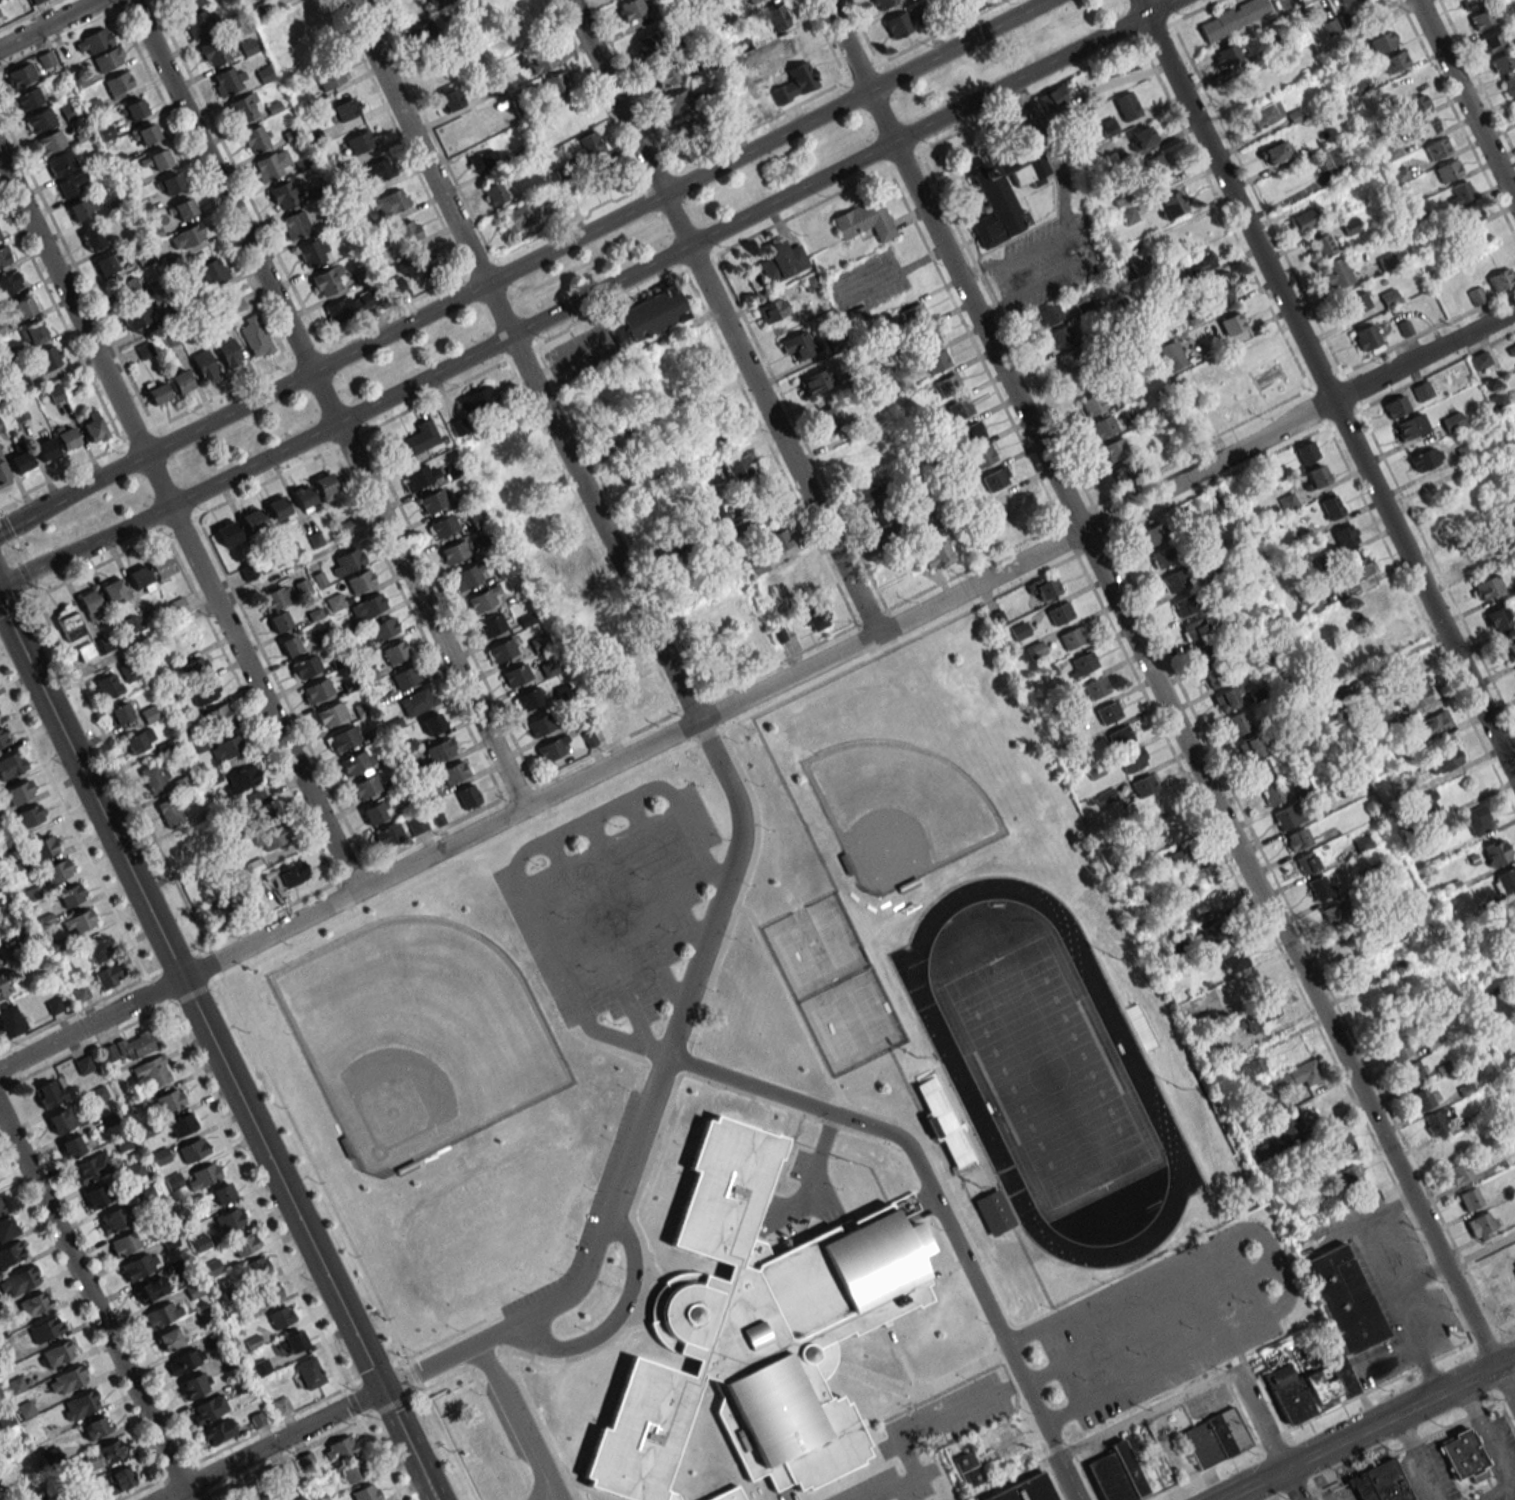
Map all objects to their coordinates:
building: (35, 0)
building: (751, 1)
building: (1342, 1)
building: (1304, 2)
building: (191, 3)
building: (438, 3)
building: (882, 3)
building: (1471, 3)
building: (631, 9)
building: (528, 11)
road: (28, 13)
building: (1, 17)
building: (777, 17)
building: (1233, 18)
building: (1482, 18)
building: (200, 22)
road: (49, 24)
building: (899, 24)
building: (1330, 27)
building: (423, 34)
building: (93, 41)
building: (649, 42)
building: (1382, 42)
building: (1491, 42)
building: (214, 50)
building: (1230, 54)
road: (24, 55)
building: (108, 58)
building: (539, 58)
building: (1395, 61)
building: (667, 74)
building: (20, 75)
building: (329, 76)
building: (228, 80)
building: (796, 80)
building: (556, 82)
building: (119, 84)
building: (1509, 86)
building: (1054, 97)
building: (28, 98)
building: (450, 99)
building: (676, 101)
road: (1465, 101)
building: (1126, 105)
building: (1416, 105)
building: (242, 107)
building: (1513, 107)
building: (133, 109)
building: (346, 109)
building: (1266, 113)
building: (39, 120)
building: (1428, 126)
building: (685, 134)
building: (145, 135)
building: (1142, 137)
building: (254, 138)
building: (360, 141)
building: (50, 142)
building: (590, 144)
building: (1438, 147)
road: (1051, 153)
building: (1278, 154)
building: (159, 160)
building: (481, 160)
building: (1333, 161)
building: (60, 163)
building: (272, 164)
building: (1157, 167)
building: (377, 170)
building: (1448, 170)
building: (604, 175)
building: (70, 184)
building: (170, 184)
building: (567, 187)
building: (1460, 193)
building: (495, 194)
building: (1004, 194)
building: (282, 195)
building: (389, 203)
building: (1171, 204)
building: (81, 207)
building: (182, 208)
building: (1471, 213)
building: (1128, 215)
building: (518, 218)
building: (1307, 218)
building: (864, 220)
building: (298, 222)
building: (1350, 226)
building: (407, 231)
building: (0, 236)
building: (186, 236)
building: (92, 238)
road: (1081, 243)
building: (1322, 245)
road: (503, 251)
building: (313, 252)
building: (4, 256)
building: (781, 261)
building: (419, 262)
building: (1199, 263)
building: (105, 264)
road: (523, 264)
road: (953, 265)
building: (1137, 267)
building: (210, 273)
building: (1336, 274)
building: (1501, 279)
building: (327, 280)
building: (9, 282)
building: (124, 290)
building: (1220, 291)
road: (588, 296)
building: (1389, 297)
building: (1356, 302)
building: (349, 305)
building: (22, 307)
building: (770, 311)
building: (914, 314)
building: (647, 315)
building: (1048, 315)
building: (140, 317)
road: (722, 317)
building: (1232, 323)
building: (34, 332)
building: (254, 335)
building: (927, 336)
building: (1060, 337)
building: (1367, 339)
building: (797, 345)
building: (1512, 350)
building: (228, 354)
building: (1172, 355)
building: (47, 358)
road: (523, 360)
building: (1480, 360)
building: (936, 361)
building: (1068, 361)
building: (204, 366)
building: (180, 381)
building: (816, 381)
building: (1081, 381)
building: (948, 385)
road: (1325, 387)
building: (1422, 391)
building: (157, 392)
building: (477, 400)
road: (327, 403)
building: (1092, 404)
building: (1395, 406)
building: (959, 408)
road: (1297, 418)
building: (830, 420)
building: (1451, 421)
building: (457, 426)
building: (1104, 426)
building: (1410, 426)
building: (92, 427)
building: (720, 430)
building: (972, 432)
building: (67, 436)
building: (613, 436)
building: (418, 438)
building: (45, 449)
building: (1114, 449)
building: (1306, 452)
building: (983, 456)
building: (1425, 458)
building: (20, 461)
building: (739, 467)
building: (632, 472)
building: (1123, 472)
building: (4, 473)
building: (419, 476)
building: (1315, 476)
building: (995, 478)
building: (501, 486)
building: (326, 487)
building: (869, 497)
building: (304, 498)
building: (432, 501)
building: (1006, 503)
building: (1331, 508)
building: (278, 509)
building: (726, 513)
building: (252, 520)
road: (178, 524)
building: (442, 526)
building: (228, 533)
building: (880, 533)
building: (1153, 534)
building: (1345, 536)
building: (778, 540)
building: (454, 552)
building: (936, 556)
building: (1161, 557)
building: (346, 562)
building: (161, 567)
building: (754, 568)
building: (1354, 570)
building: (468, 576)
building: (140, 578)
building: (1176, 580)
building: (360, 581)
building: (799, 581)
building: (1044, 587)
building: (1486, 587)
building: (114, 591)
building: (275, 598)
building: (484, 598)
building: (91, 604)
building: (1183, 605)
building: (1372, 605)
building: (367, 606)
building: (1059, 613)
building: (814, 616)
building: (1497, 618)
building: (68, 621)
building: (279, 621)
building: (129, 624)
building: (491, 625)
building: (382, 628)
building: (1194, 629)
building: (1391, 634)
building: (1072, 638)
building: (102, 644)
building: (289, 645)
building: (1035, 649)
building: (1510, 649)
building: (501, 650)
building: (86, 652)
building: (395, 652)
building: (1202, 653)
building: (1082, 663)
building: (306, 666)
building: (193, 668)
building: (127, 671)
building: (516, 675)
building: (405, 676)
building: (1213, 677)
building: (107, 686)
building: (1096, 687)
building: (316, 690)
building: (1343, 690)
building: (203, 692)
building: (1415, 696)
building: (1228, 697)
building: (634, 698)
building: (528, 699)
building: (417, 701)
building: (332, 712)
building: (1108, 712)
building: (119, 713)
building: (218, 715)
building: (0, 716)
road: (735, 722)
building: (432, 723)
building: (1237, 723)
building: (539, 724)
building: (1429, 726)
building: (608, 727)
building: (3, 736)
building: (1120, 736)
building: (341, 738)
building: (137, 741)
building: (228, 747)
building: (553, 747)
building: (1249, 748)
building: (440, 750)
building: (1446, 759)
building: (1133, 760)
building: (355, 762)
building: (11, 765)
building: (1260, 770)
building: (453, 772)
building: (154, 777)
building: (241, 779)
building: (1408, 782)
building: (1144, 785)
building: (364, 787)
building: (16, 793)
building: (1273, 794)
building: (468, 796)
building: (1105, 797)
road: (541, 799)
building: (262, 803)
building: (1428, 803)
park: (898, 809)
building: (1154, 809)
building: (375, 811)
building: (169, 812)
building: (29, 815)
building: (1286, 817)
road: (587, 818)
building: (1477, 821)
building: (417, 824)
building: (1167, 834)
building: (389, 835)
building: (274, 836)
building: (1297, 839)
road: (696, 841)
building: (43, 847)
building: (1495, 852)
building: (1178, 859)
building: (1306, 863)
building: (56, 871)
road: (664, 874)
building: (285, 876)
building: (1506, 882)
building: (1187, 884)
building: (1318, 887)
building: (70, 895)
parking lot: (611, 905)
park: (1100, 908)
building: (218, 913)
road: (633, 913)
building: (1336, 913)
building: (80, 922)
road: (591, 925)
building: (1216, 930)
road: (550, 945)
building: (1171, 947)
building: (97, 950)
building: (1231, 958)
road: (1296, 961)
building: (1362, 974)
building: (108, 976)
park: (833, 984)
building: (4, 985)
building: (1378, 1002)
building: (1260, 1014)
building: (9, 1021)
building: (1140, 1027)
road: (641, 1031)
park: (417, 1036)
road: (623, 1040)
building: (130, 1046)
building: (1397, 1049)
road: (616, 1050)
road: (217, 1052)
park: (1039, 1055)
building: (84, 1065)
road: (188, 1065)
building: (1252, 1068)
building: (152, 1071)
building: (1411, 1072)
building: (1307, 1073)
building: (48, 1093)
road: (1164, 1096)
building: (1424, 1098)
building: (169, 1100)
track: (1152, 1103)
road: (645, 1105)
road: (866, 1112)
track: (1212, 1113)
building: (61, 1120)
building: (1436, 1121)
building: (942, 1122)
building: (182, 1124)
building: (1282, 1137)
road: (974, 1138)
building: (1342, 1144)
building: (72, 1146)
building: (1444, 1149)
building: (192, 1150)
road: (781, 1154)
parking lot: (799, 1164)
building: (91, 1167)
building: (136, 1168)
parking lot: (607, 1171)
building: (1459, 1171)
building: (205, 1174)
building: (1351, 1176)
road: (810, 1177)
building: (223, 1193)
road: (1001, 1193)
building: (95, 1196)
road: (820, 1197)
building: (1469, 1198)
road: (938, 1203)
road: (632, 1206)
building: (1, 1208)
road: (964, 1209)
building: (993, 1211)
building: (113, 1219)
building: (230, 1219)
building: (1482, 1225)
building: (7, 1227)
building: (125, 1243)
building: (244, 1244)
road: (1481, 1249)
building: (11, 1253)
road: (1275, 1262)
road: (949, 1265)
building: (138, 1266)
building: (256, 1267)
building: (18, 1281)
road: (594, 1281)
road: (606, 1281)
road: (1386, 1283)
building: (149, 1289)
road: (625, 1291)
building: (267, 1293)
building: (1344, 1297)
building: (31, 1305)
road: (94, 1306)
building: (162, 1313)
building: (280, 1316)
road: (1032, 1318)
road: (613, 1319)
road: (1150, 1322)
parking lot: (1156, 1327)
building: (45, 1329)
building: (754, 1330)
building: (170, 1338)
road: (443, 1338)
building: (295, 1343)
building: (58, 1353)
road: (902, 1357)
building: (185, 1360)
road: (962, 1372)
building: (311, 1375)
road: (874, 1377)
building: (67, 1379)
building: (194, 1385)
traffic signals: (388, 1386)
road: (914, 1390)
building: (80, 1405)
building: (208, 1408)
road: (889, 1408)
road: (1148, 1413)
road: (1399, 1413)
road: (516, 1419)
road: (538, 1424)
building: (96, 1426)
building: (218, 1431)
road: (501, 1433)
parking lot: (909, 1433)
road: (914, 1433)
road: (1267, 1434)
building: (1214, 1438)
road: (273, 1442)
road: (680, 1443)
road: (1490, 1443)
road: (449, 1444)
building: (341, 1448)
building: (104, 1453)
building: (1463, 1455)
road: (1417, 1457)
building: (967, 1469)
building: (352, 1471)
building: (1127, 1474)
road: (1014, 1477)
building: (121, 1479)
building: (1380, 1482)
road: (1252, 1484)
road: (728, 1485)
road: (766, 1488)
building: (1025, 1490)
road: (594, 1491)
building: (251, 1493)
building: (366, 1493)
building: (727, 1495)
road: (784, 1495)

